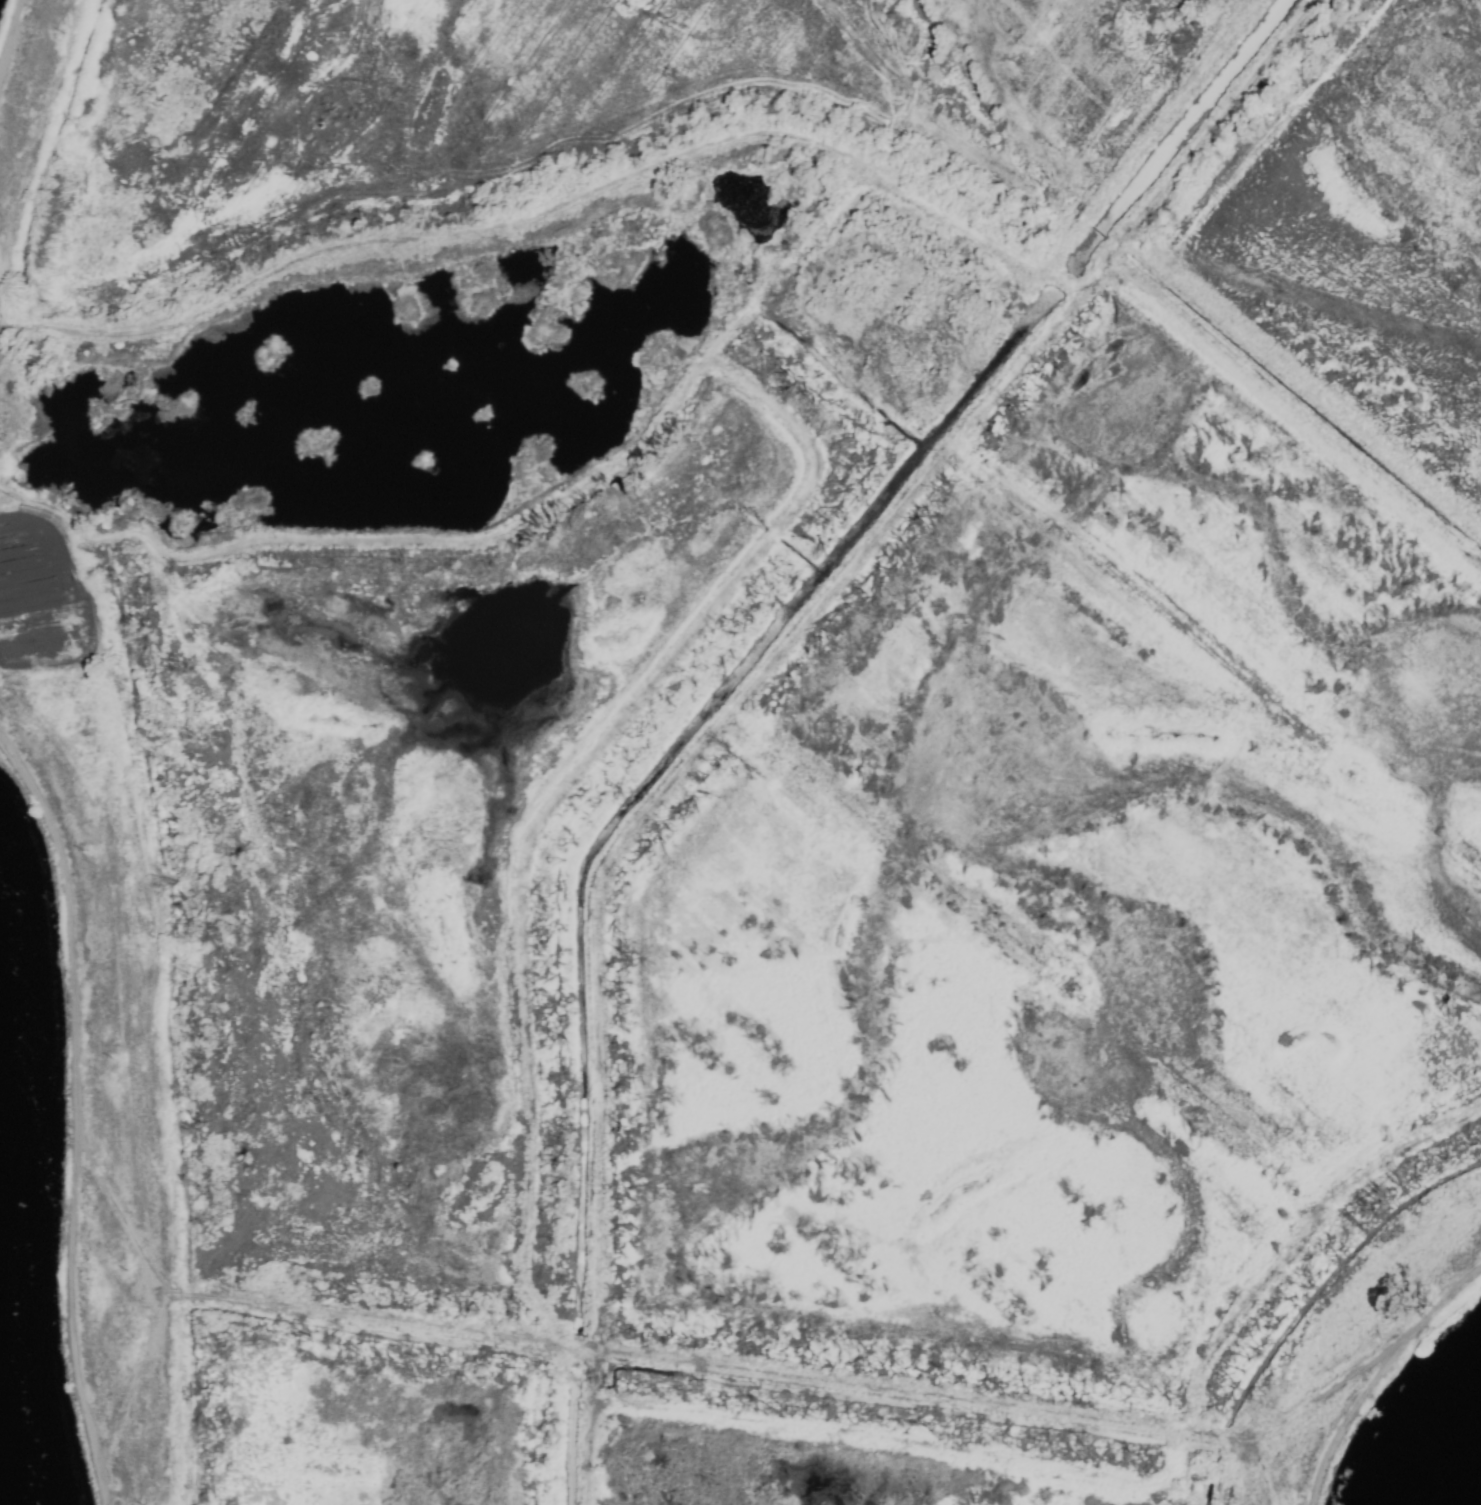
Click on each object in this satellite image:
crop: (744, 738)

